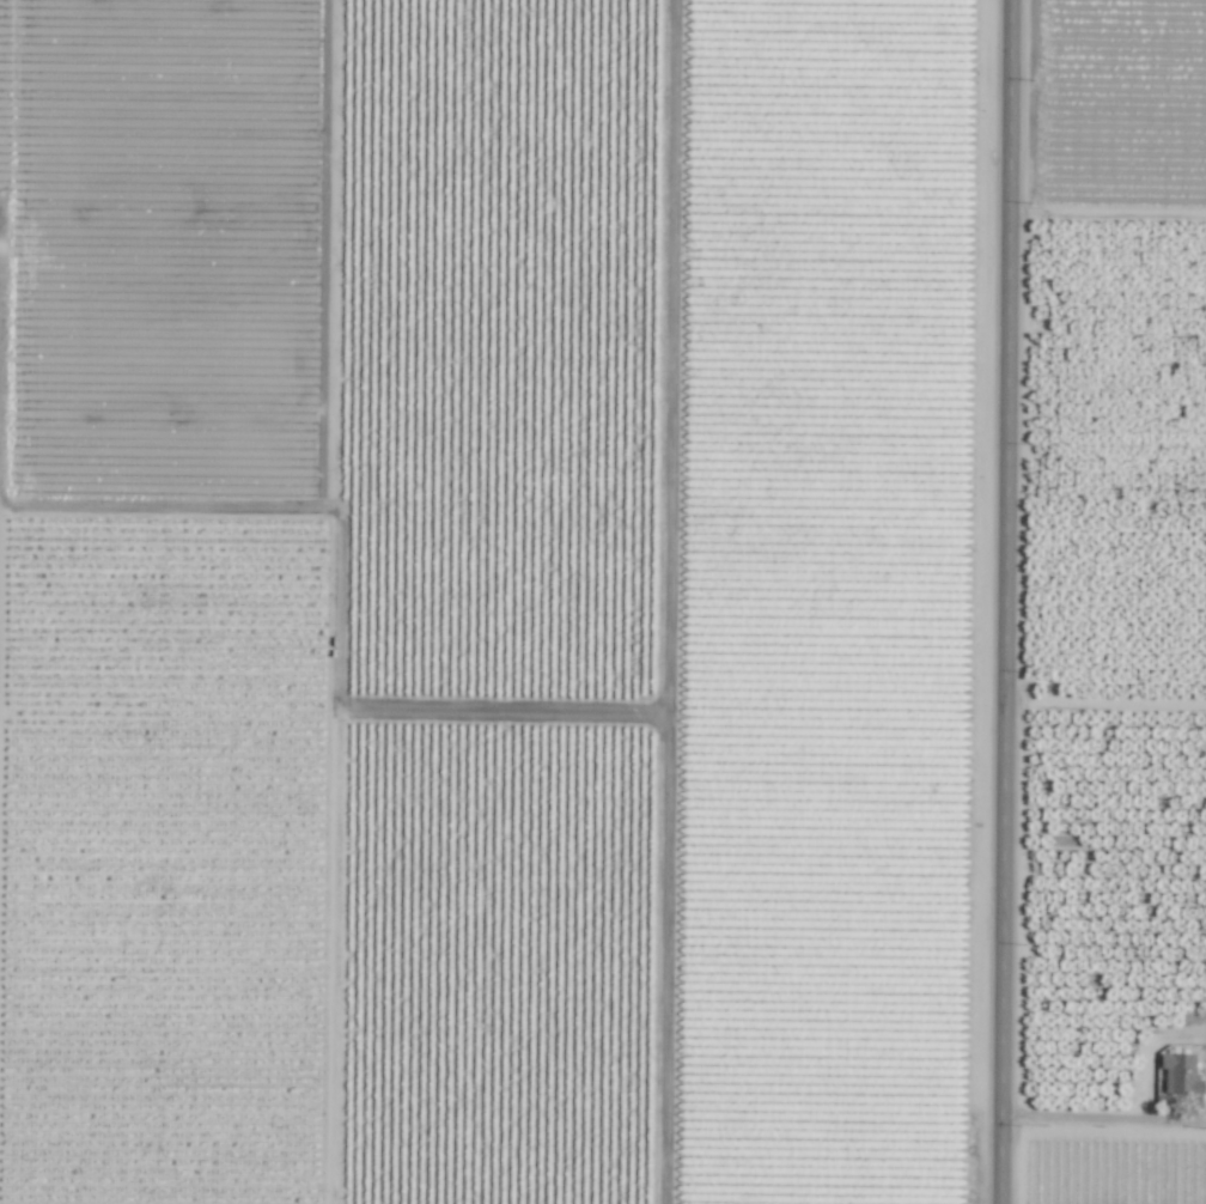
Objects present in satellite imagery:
road: (1, 197)
road: (2, 343)
road: (1003, 601)
road: (1103, 699)
building: (1180, 1074)
road: (1097, 1118)
road: (1201, 1119)

